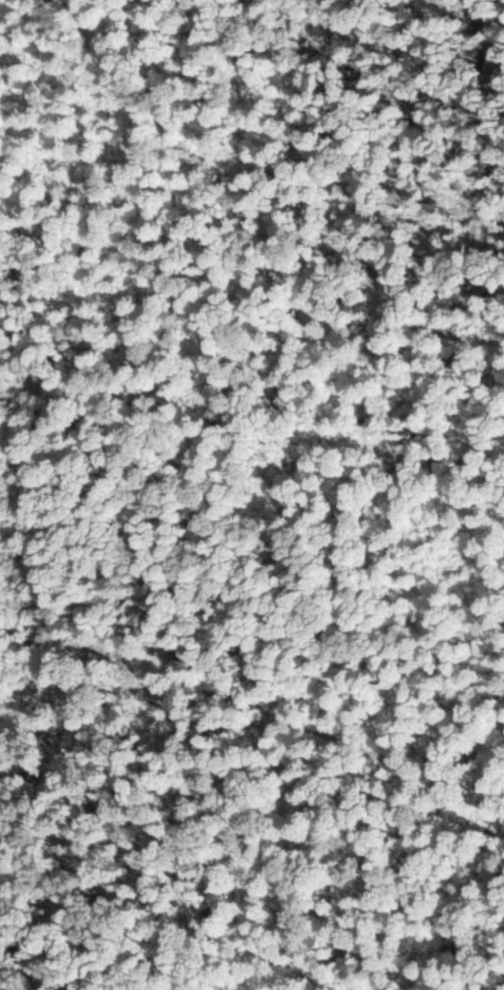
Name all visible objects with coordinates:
road: (394, 88)

